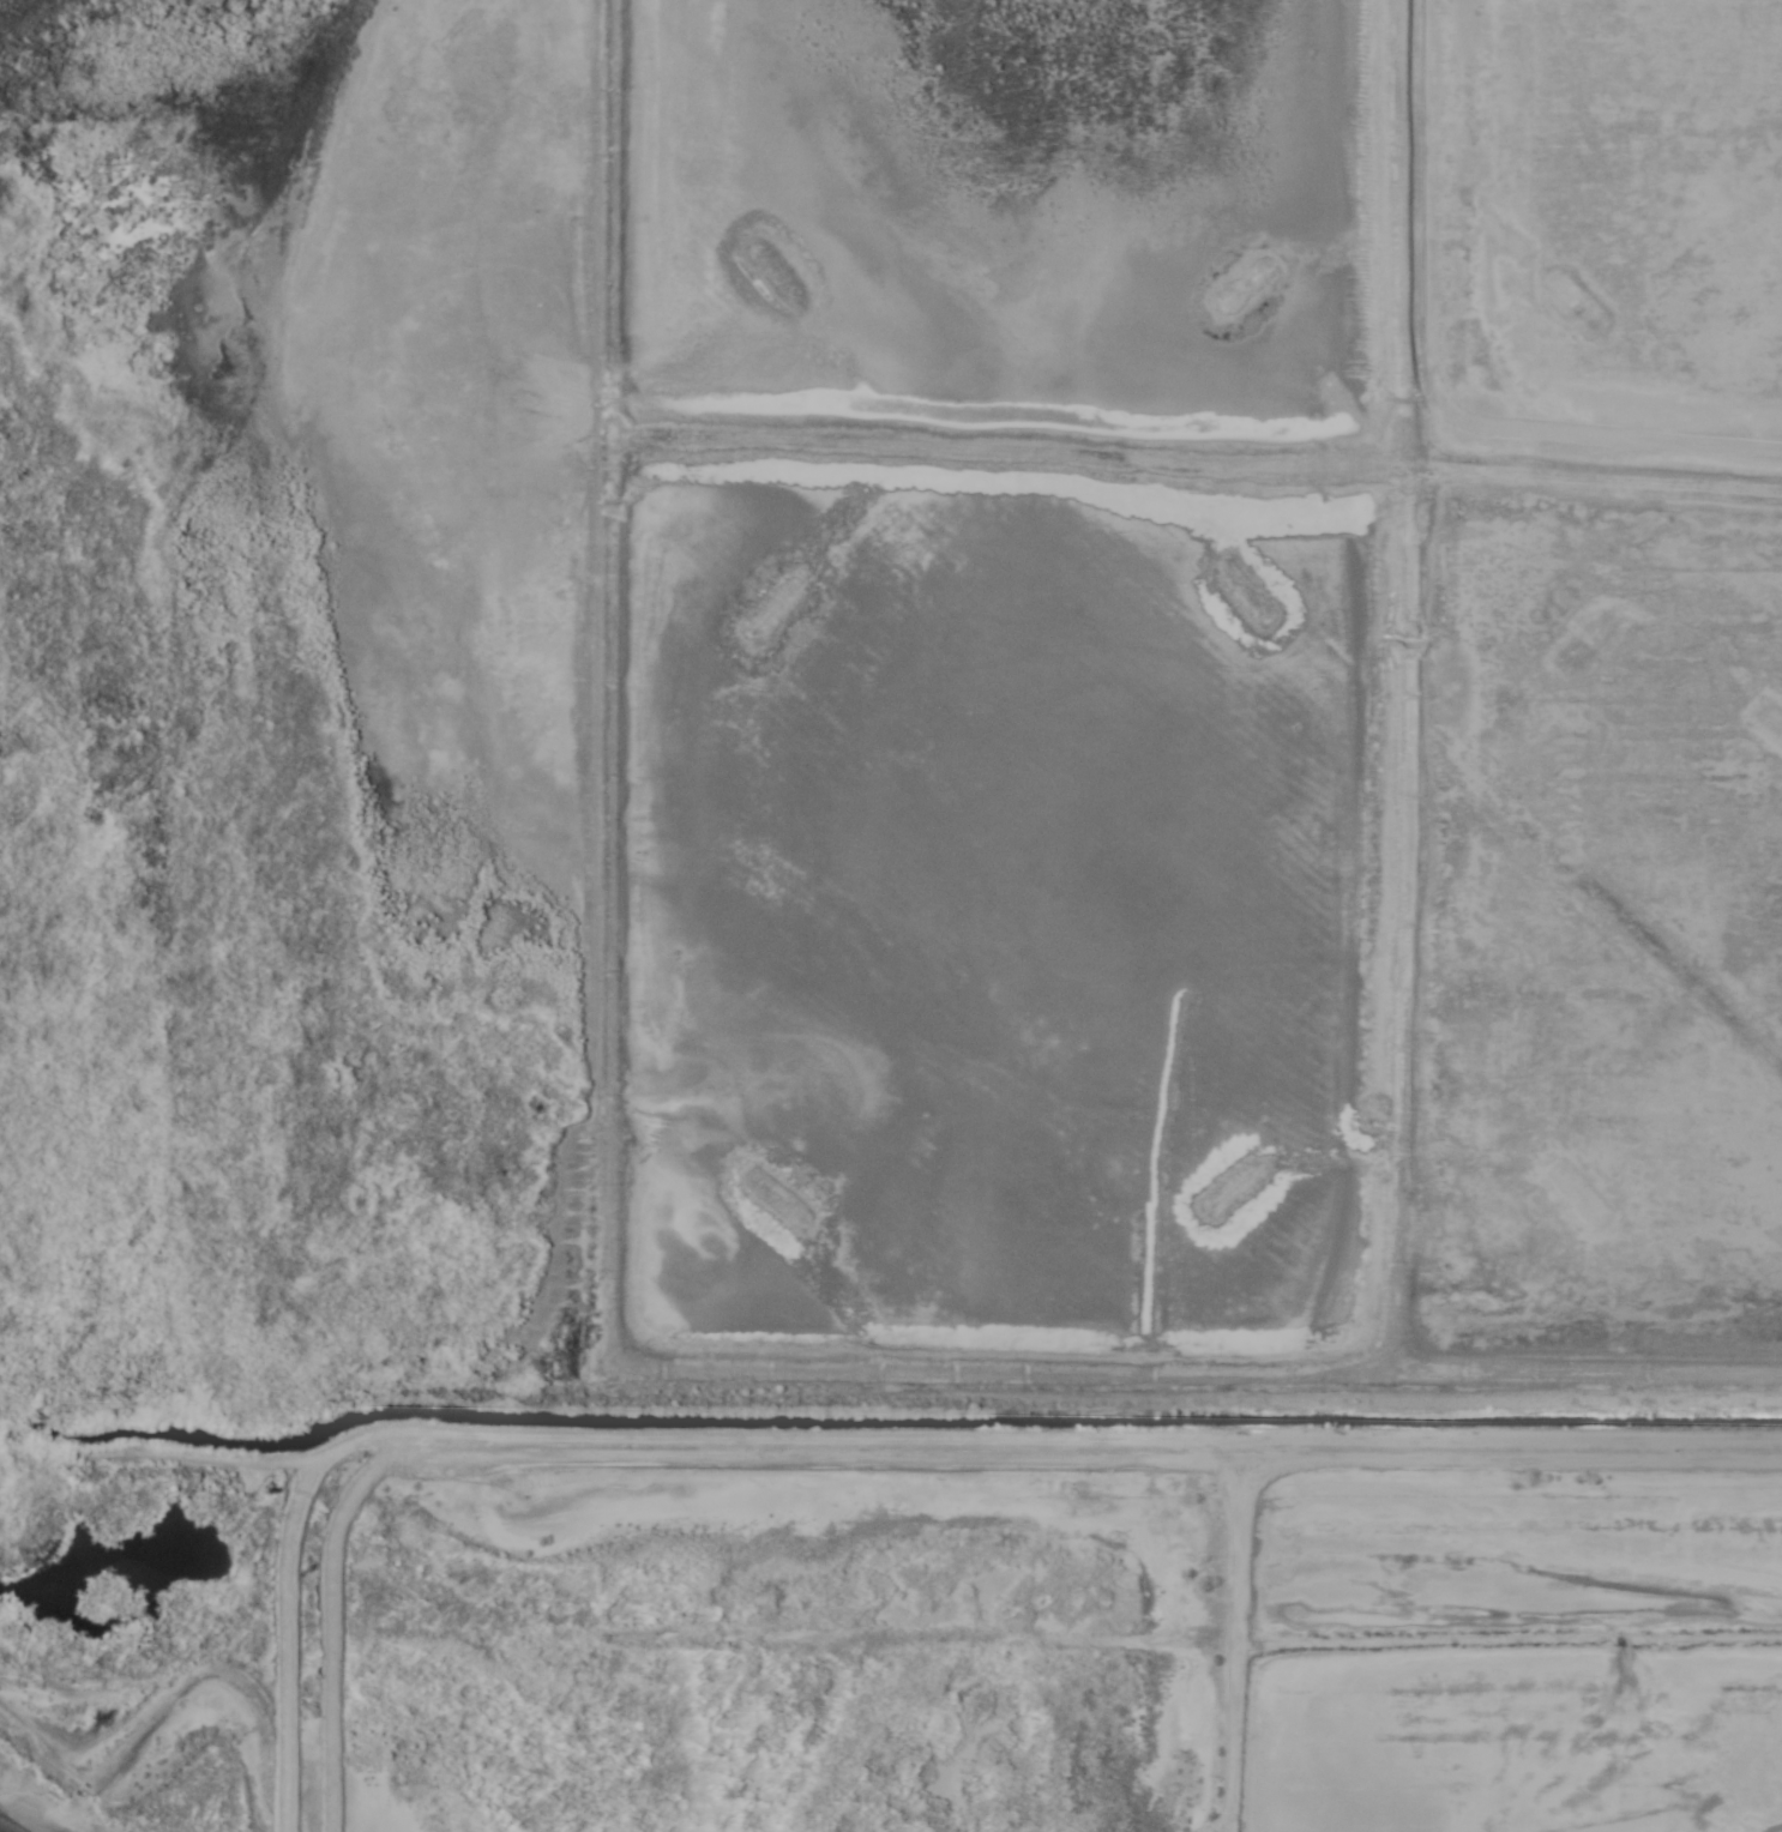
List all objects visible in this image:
road: (887, 1432)

